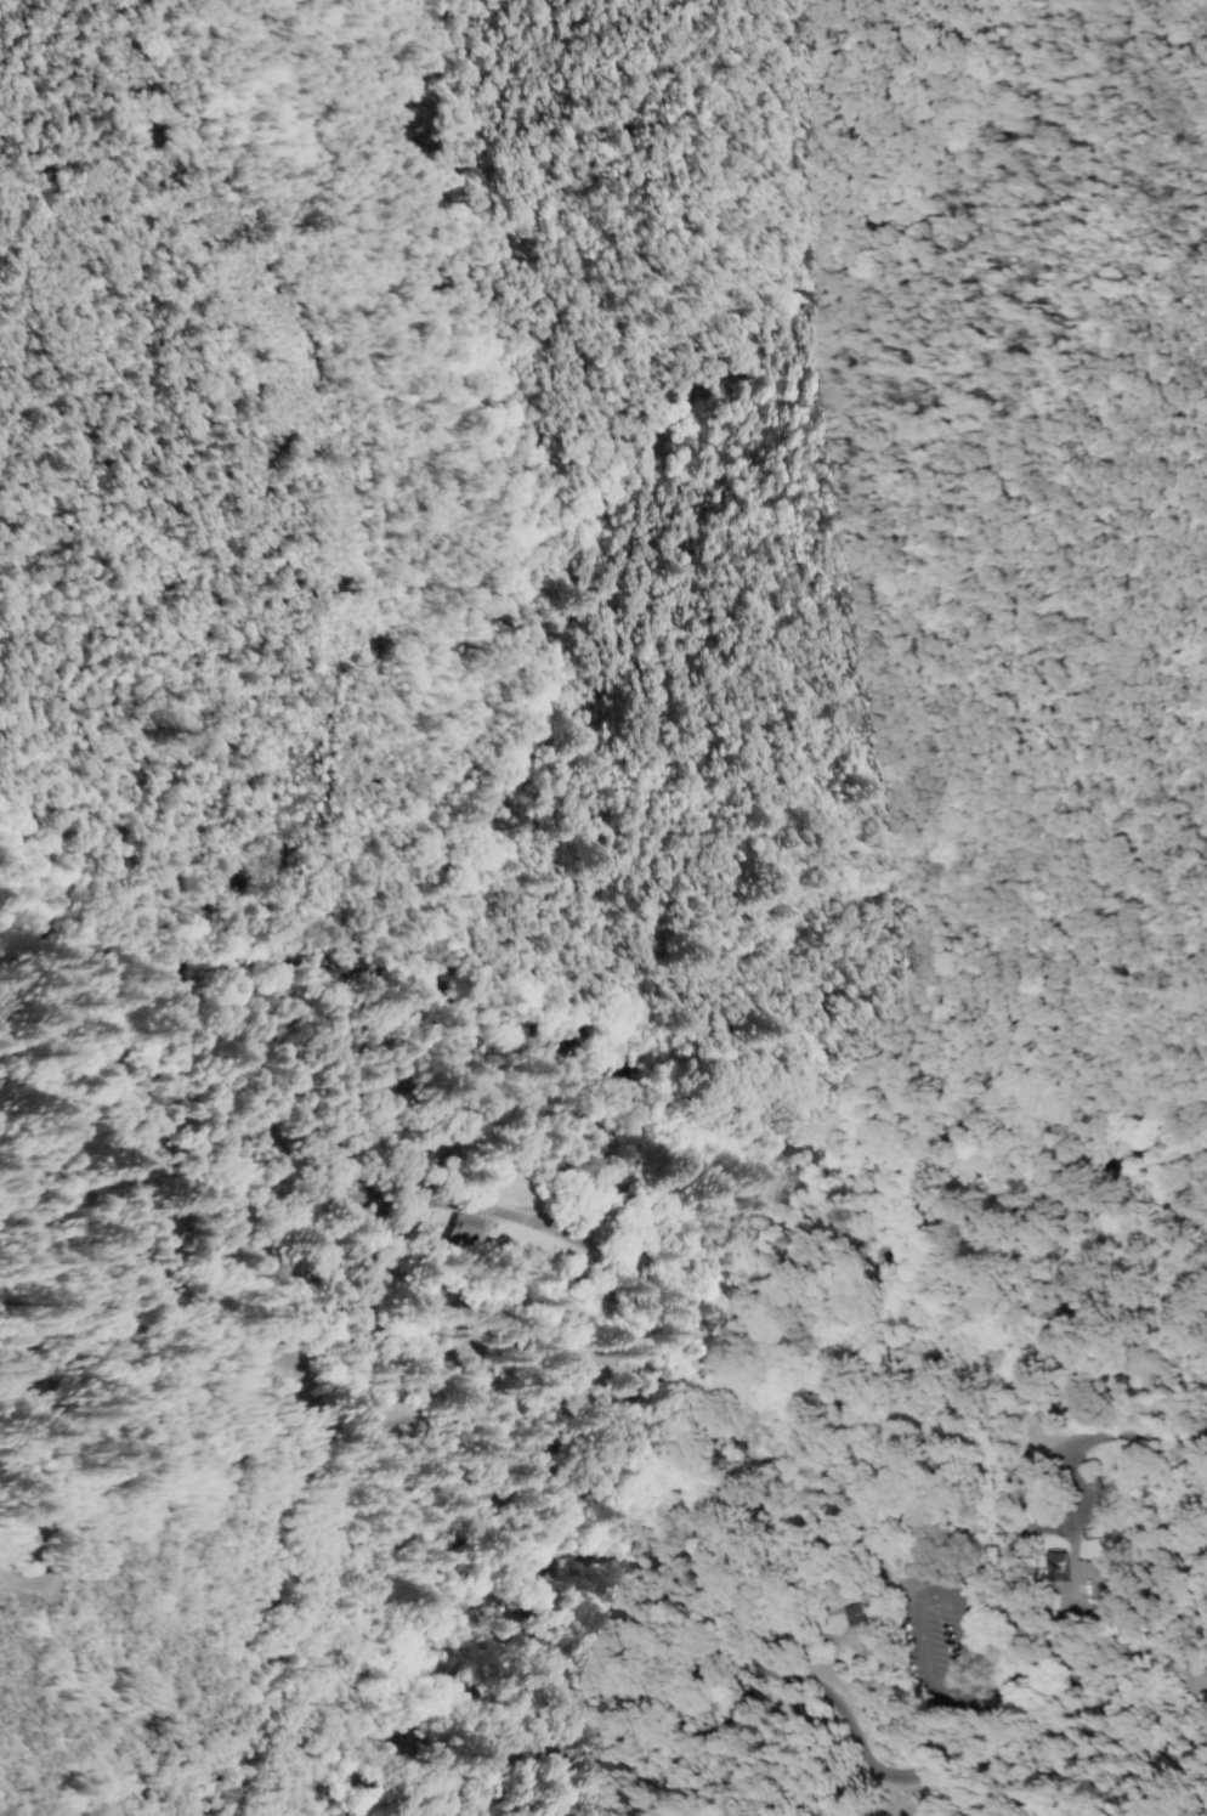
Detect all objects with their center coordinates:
road: (335, 451)
road: (614, 1043)
road: (550, 1212)
road: (948, 1231)
road: (203, 1265)
road: (466, 1325)
road: (403, 1407)
road: (918, 1409)
road: (1137, 1437)
road: (786, 1460)
road: (1032, 1535)
road: (30, 1539)
toll booth: (1022, 1548)
road: (1069, 1585)
road: (923, 1596)
road: (906, 1600)
building: (854, 1614)
parking lot: (946, 1646)
road: (770, 1648)
road: (398, 1654)
road: (764, 1695)
road: (976, 1705)
parking lot: (826, 1715)
road: (375, 1731)
road: (401, 1737)
road: (577, 1783)
road: (489, 1799)
road: (386, 1800)
road: (432, 1812)
road: (438, 1812)

